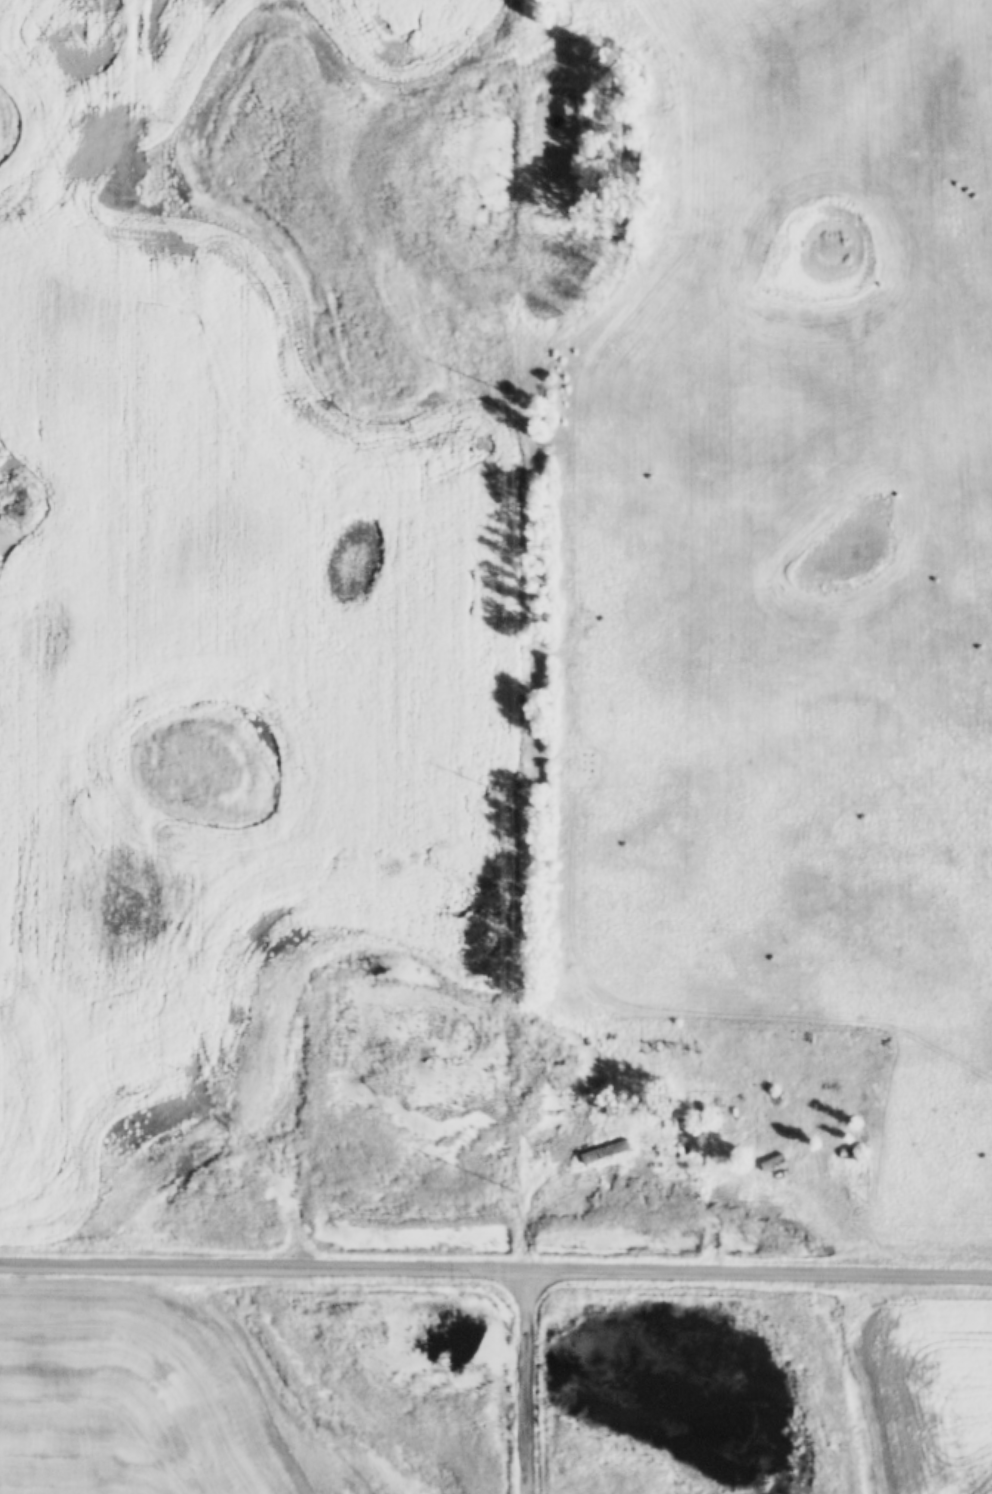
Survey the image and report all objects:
building: (606, 1151)
building: (848, 1153)
building: (773, 1162)
road: (630, 1163)
road: (496, 1270)
road: (524, 1382)

